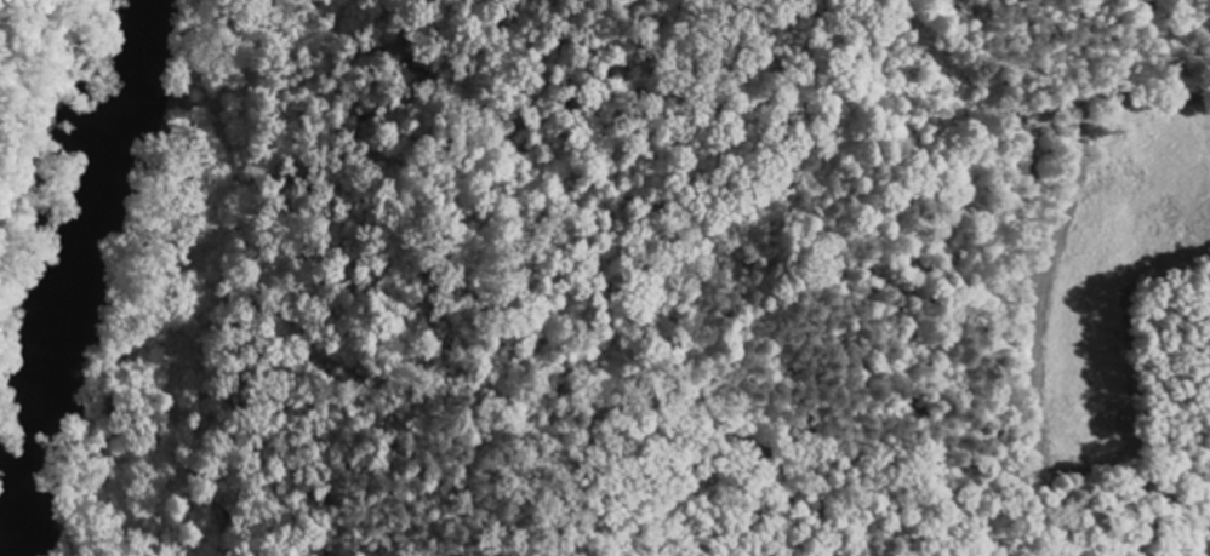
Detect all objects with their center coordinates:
river: (67, 274)

